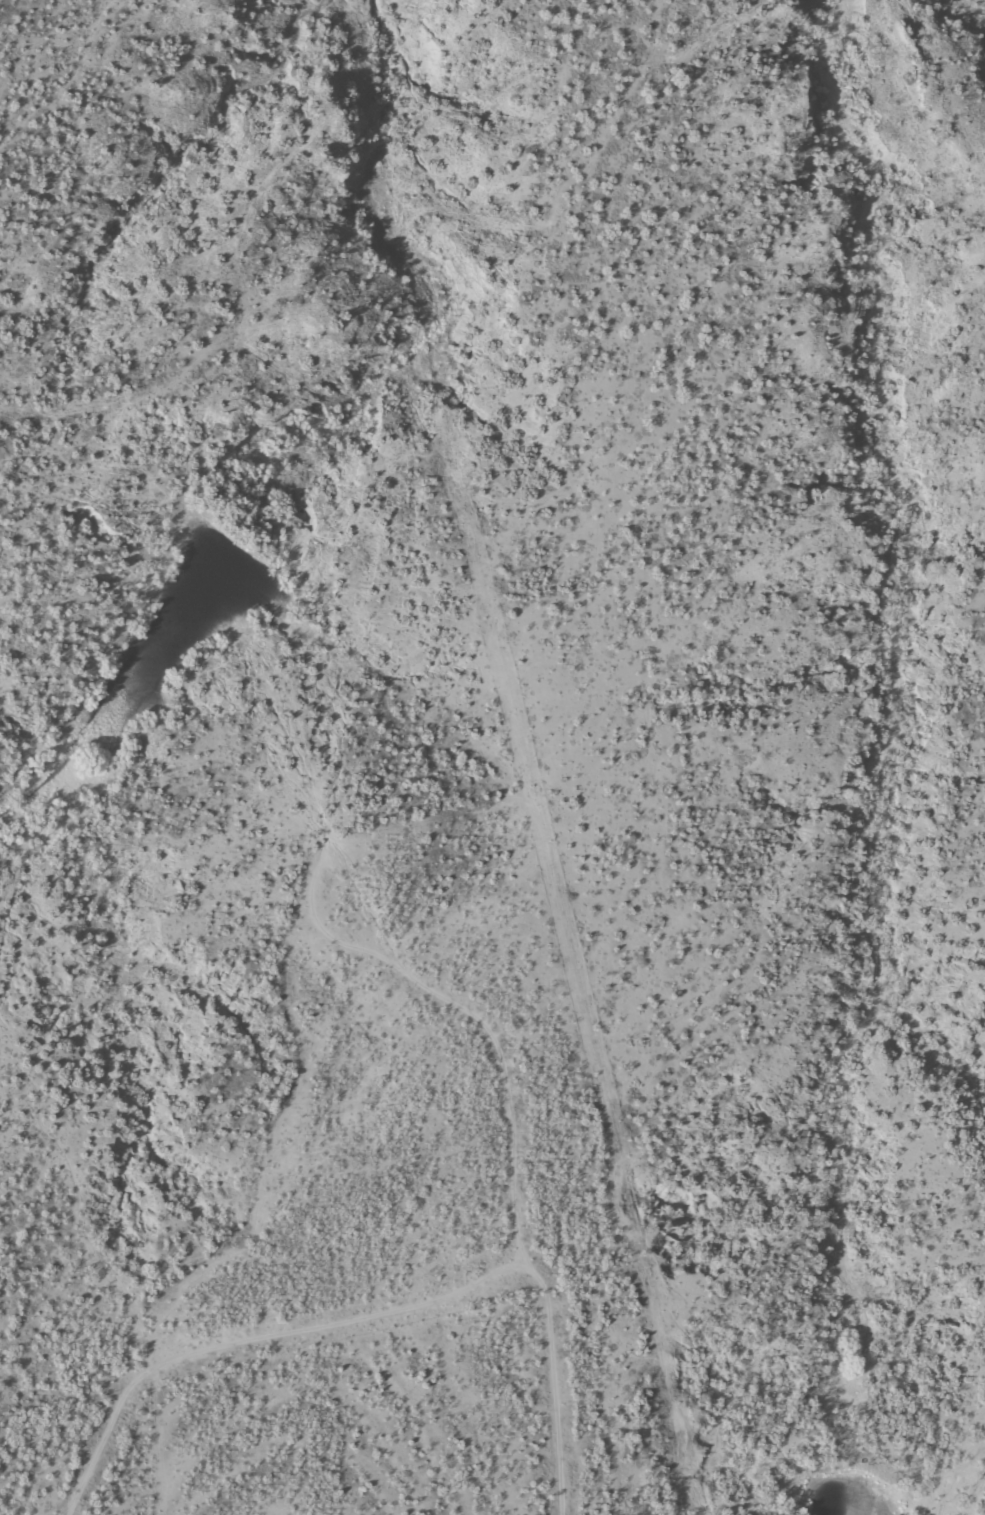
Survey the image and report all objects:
road: (976, 1458)
road: (64, 1463)

